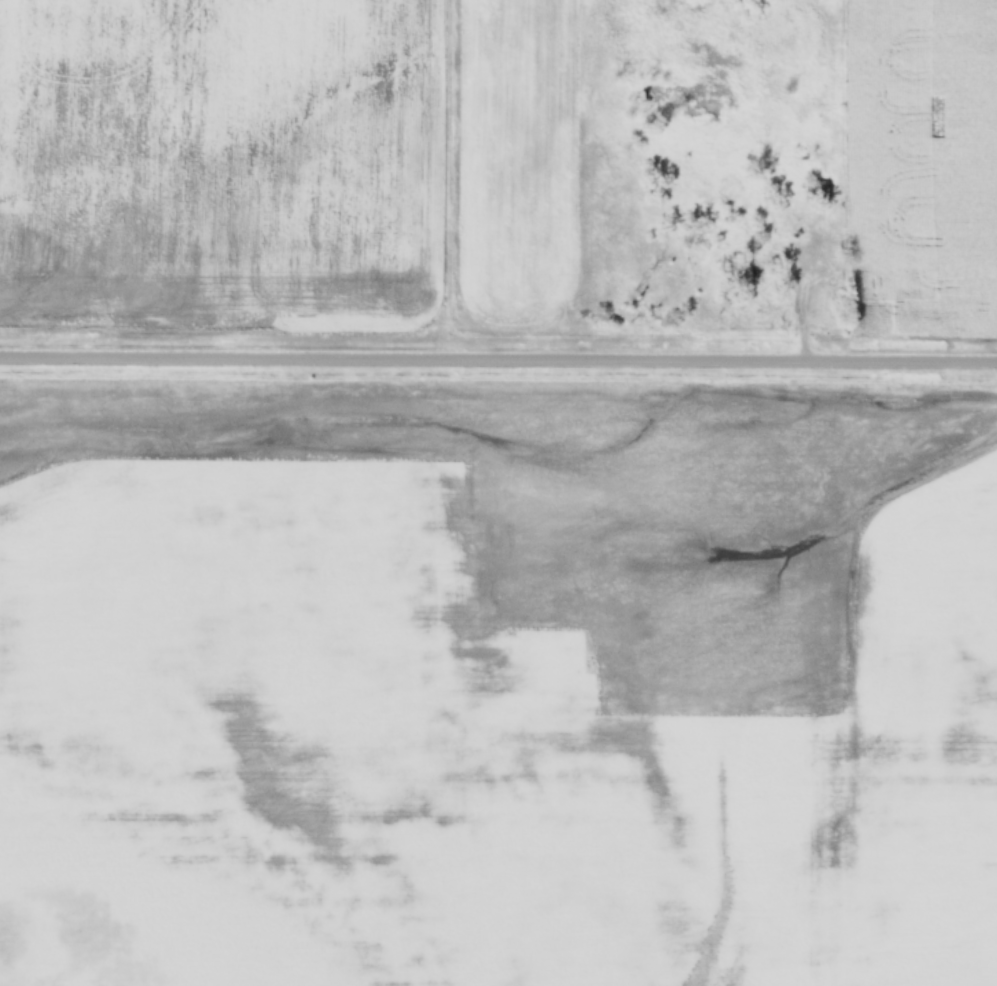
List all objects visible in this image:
road: (498, 355)

